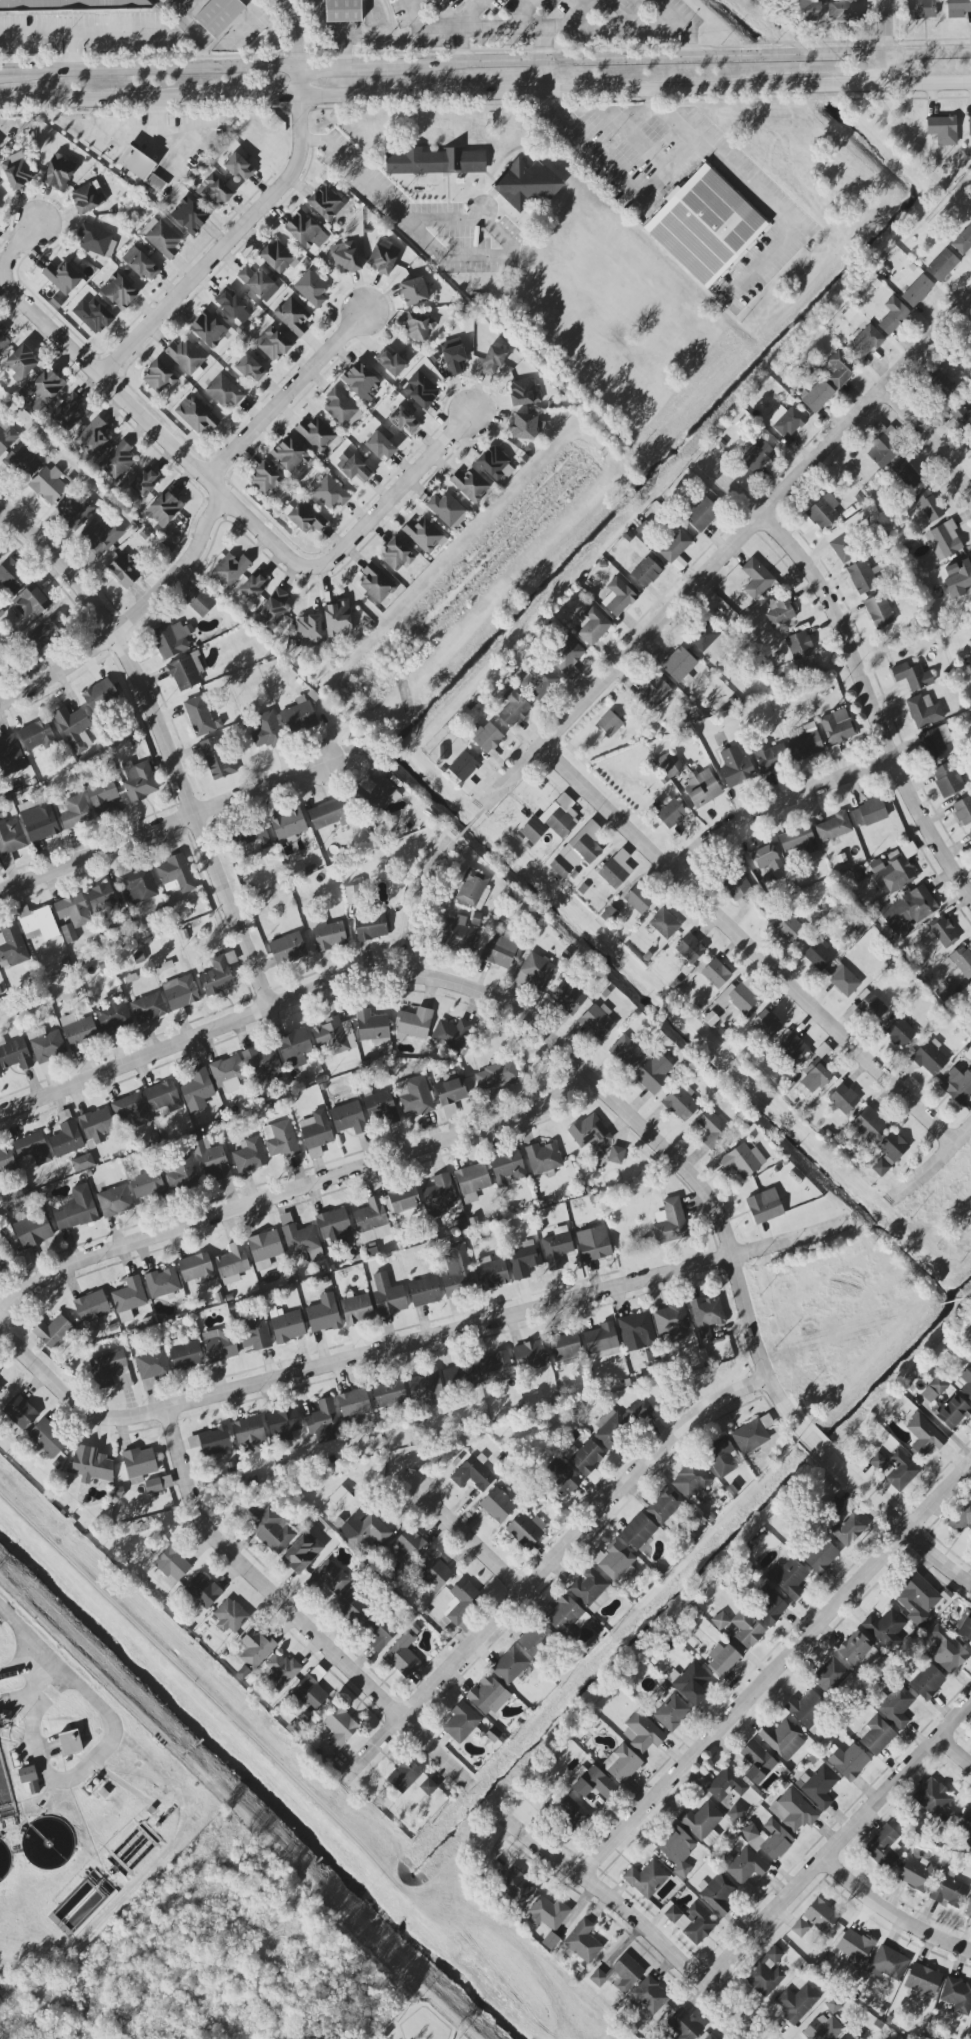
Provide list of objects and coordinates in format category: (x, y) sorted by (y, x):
building: (899, 0)
building: (160, 1)
building: (72, 5)
building: (957, 8)
building: (919, 9)
building: (845, 10)
building: (343, 11)
building: (807, 11)
road: (452, 12)
building: (218, 15)
road: (524, 15)
road: (578, 15)
road: (687, 25)
road: (466, 28)
road: (79, 29)
road: (538, 30)
road: (297, 32)
road: (889, 43)
road: (547, 47)
road: (74, 52)
road: (679, 61)
road: (345, 69)
road: (151, 73)
road: (547, 79)
road: (304, 85)
road: (930, 86)
road: (840, 88)
road: (547, 93)
road: (271, 100)
road: (118, 102)
road: (307, 118)
road: (157, 123)
building: (942, 130)
building: (970, 130)
road: (589, 146)
road: (681, 154)
road: (653, 155)
building: (434, 161)
building: (136, 163)
building: (239, 167)
building: (17, 171)
road: (356, 172)
building: (58, 173)
building: (155, 183)
building: (524, 184)
road: (751, 191)
building: (215, 193)
building: (88, 198)
building: (326, 203)
building: (188, 216)
building: (705, 228)
building: (306, 231)
parking lot: (460, 234)
building: (161, 238)
building: (97, 241)
building: (963, 241)
road: (516, 254)
building: (383, 257)
building: (277, 258)
building: (345, 258)
road: (210, 262)
building: (141, 264)
building: (942, 265)
building: (62, 277)
building: (258, 283)
building: (311, 288)
building: (118, 291)
building: (414, 291)
building: (917, 291)
building: (233, 307)
building: (93, 316)
building: (292, 316)
building: (893, 316)
building: (417, 327)
building: (208, 329)
building: (3, 338)
building: (865, 342)
building: (273, 344)
building: (453, 357)
building: (21, 362)
building: (492, 362)
building: (390, 363)
building: (839, 368)
building: (250, 369)
building: (158, 377)
building: (361, 382)
building: (942, 384)
building: (44, 389)
building: (421, 390)
building: (224, 392)
building: (523, 393)
building: (817, 396)
road: (289, 398)
road: (131, 407)
building: (341, 409)
building: (68, 412)
building: (196, 415)
building: (962, 415)
building: (403, 420)
building: (524, 426)
building: (319, 435)
building: (6, 437)
building: (92, 437)
road: (930, 437)
building: (380, 446)
building: (881, 452)
building: (756, 455)
building: (291, 459)
building: (22, 461)
building: (117, 461)
building: (495, 464)
building: (353, 466)
building: (904, 474)
building: (265, 479)
building: (145, 481)
building: (47, 485)
building: (470, 485)
building: (329, 492)
road: (396, 494)
building: (929, 506)
building: (76, 509)
building: (163, 509)
building: (447, 510)
building: (701, 516)
building: (306, 517)
building: (103, 535)
building: (424, 535)
building: (846, 536)
building: (944, 540)
building: (673, 545)
road: (728, 552)
building: (1, 553)
building: (396, 555)
building: (123, 571)
building: (228, 571)
building: (646, 572)
building: (11, 576)
building: (861, 577)
building: (958, 578)
building: (756, 579)
building: (376, 583)
building: (253, 586)
building: (618, 597)
building: (30, 602)
building: (202, 604)
building: (274, 607)
building: (879, 611)
building: (780, 612)
road: (128, 617)
building: (337, 619)
building: (592, 625)
building: (308, 630)
building: (44, 634)
building: (705, 637)
building: (172, 639)
building: (799, 645)
building: (565, 659)
road: (853, 661)
building: (679, 664)
building: (183, 674)
building: (911, 675)
building: (539, 682)
building: (653, 694)
building: (99, 695)
building: (513, 709)
building: (924, 711)
building: (198, 716)
building: (299, 718)
building: (609, 723)
building: (72, 727)
building: (837, 727)
building: (266, 729)
building: (37, 736)
road: (162, 736)
building: (486, 736)
building: (804, 742)
building: (933, 745)
building: (10, 756)
building: (770, 757)
building: (216, 758)
building: (735, 767)
building: (462, 772)
building: (947, 779)
building: (139, 781)
building: (702, 788)
building: (375, 794)
building: (102, 795)
road: (776, 802)
building: (74, 811)
building: (962, 811)
road: (480, 812)
building: (668, 813)
building: (869, 813)
building: (329, 814)
building: (560, 816)
building: (38, 819)
building: (288, 824)
road: (164, 826)
road: (468, 826)
building: (834, 827)
building: (532, 831)
building: (969, 835)
building: (11, 837)
road: (456, 839)
building: (798, 840)
building: (250, 841)
building: (578, 851)
building: (764, 859)
building: (616, 870)
building: (892, 872)
building: (176, 874)
building: (735, 883)
building: (139, 886)
building: (473, 889)
building: (101, 896)
building: (638, 899)
road: (417, 903)
building: (908, 910)
building: (72, 915)
building: (38, 923)
building: (664, 924)
building: (370, 927)
building: (788, 928)
building: (943, 931)
building: (458, 935)
building: (330, 937)
building: (12, 945)
road: (750, 945)
building: (690, 948)
building: (288, 949)
building: (500, 951)
building: (818, 955)
building: (962, 960)
building: (218, 974)
building: (716, 974)
building: (843, 979)
building: (180, 995)
building: (567, 997)
building: (739, 998)
building: (871, 1006)
building: (148, 1008)
building: (113, 1018)
building: (597, 1022)
building: (414, 1023)
building: (766, 1024)
building: (372, 1027)
building: (80, 1031)
building: (899, 1032)
building: (451, 1034)
building: (335, 1035)
building: (46, 1044)
building: (791, 1046)
building: (295, 1047)
building: (626, 1052)
building: (15, 1055)
building: (929, 1058)
road: (135, 1059)
building: (262, 1064)
building: (654, 1072)
building: (228, 1073)
building: (497, 1075)
building: (814, 1078)
building: (0, 1079)
building: (957, 1082)
building: (439, 1088)
building: (197, 1090)
building: (452, 1093)
building: (414, 1095)
building: (163, 1097)
building: (843, 1098)
building: (680, 1104)
building: (381, 1107)
building: (132, 1110)
building: (349, 1118)
building: (96, 1126)
building: (869, 1126)
building: (712, 1130)
building: (589, 1132)
building: (316, 1133)
building: (281, 1139)
building: (33, 1148)
road: (666, 1149)
building: (889, 1153)
building: (249, 1155)
building: (616, 1155)
building: (543, 1157)
building: (6, 1160)
building: (211, 1160)
building: (743, 1160)
building: (82, 1163)
road: (932, 1167)
building: (508, 1168)
building: (181, 1172)
building: (472, 1182)
building: (147, 1184)
road: (290, 1191)
building: (439, 1195)
building: (115, 1201)
building: (403, 1202)
building: (764, 1206)
building: (76, 1209)
building: (372, 1221)
building: (670, 1221)
building: (333, 1223)
building: (32, 1230)
building: (300, 1239)
building: (594, 1244)
building: (557, 1248)
building: (264, 1249)
building: (316, 1257)
building: (524, 1260)
building: (2, 1262)
building: (232, 1264)
building: (196, 1268)
building: (456, 1271)
building: (491, 1273)
building: (162, 1283)
building: (424, 1292)
building: (130, 1295)
building: (387, 1295)
building: (91, 1308)
building: (357, 1310)
building: (323, 1314)
road: (512, 1315)
building: (707, 1316)
building: (670, 1319)
building: (636, 1331)
building: (54, 1332)
building: (602, 1341)
building: (219, 1344)
building: (565, 1346)
building: (186, 1355)
building: (530, 1356)
building: (152, 1368)
building: (496, 1368)
building: (111, 1371)
building: (460, 1378)
building: (964, 1383)
building: (425, 1387)
building: (0, 1389)
building: (934, 1389)
building: (389, 1394)
road: (73, 1399)
building: (354, 1406)
building: (20, 1412)
building: (954, 1414)
building: (322, 1418)
building: (619, 1423)
building: (284, 1424)
building: (249, 1433)
building: (924, 1436)
building: (750, 1437)
building: (46, 1440)
building: (211, 1443)
building: (585, 1457)
building: (721, 1457)
building: (877, 1461)
building: (139, 1464)
building: (91, 1465)
building: (899, 1471)
building: (473, 1474)
building: (561, 1478)
building: (692, 1481)
building: (158, 1484)
building: (341, 1498)
building: (497, 1505)
building: (663, 1505)
building: (834, 1506)
building: (963, 1520)
building: (846, 1527)
building: (526, 1529)
building: (272, 1530)
building: (364, 1531)
building: (638, 1532)
road: (471, 1538)
building: (410, 1547)
building: (302, 1553)
building: (820, 1556)
road: (938, 1557)
building: (613, 1560)
building: (172, 1566)
road: (547, 1566)
building: (434, 1572)
building: (327, 1578)
building: (788, 1578)
building: (590, 1589)
building: (204, 1591)
building: (917, 1600)
building: (462, 1602)
building: (768, 1605)
building: (351, 1606)
road: (293, 1610)
building: (231, 1615)
building: (564, 1616)
building: (720, 1621)
building: (885, 1628)
building: (965, 1628)
building: (746, 1629)
building: (379, 1631)
building: (541, 1638)
building: (255, 1648)
building: (855, 1648)
building: (946, 1651)
building: (403, 1655)
building: (723, 1660)
building: (510, 1666)
road: (28, 1668)
road: (776, 1668)
building: (281, 1671)
building: (830, 1675)
building: (926, 1681)
building: (690, 1683)
building: (311, 1690)
road: (93, 1693)
building: (488, 1695)
road: (41, 1699)
building: (896, 1707)
building: (807, 1708)
building: (672, 1712)
building: (461, 1722)
building: (340, 1727)
road: (40, 1732)
building: (642, 1733)
building: (875, 1735)
building: (783, 1739)
building: (70, 1742)
road: (957, 1746)
building: (757, 1762)
building: (848, 1762)
building: (621, 1764)
building: (27, 1774)
building: (410, 1778)
building: (594, 1783)
building: (726, 1785)
building: (818, 1786)
building: (932, 1797)
wastewater plant: (77, 1802)
building: (572, 1810)
building: (793, 1811)
building: (736, 1813)
building: (701, 1821)
building: (965, 1822)
building: (768, 1839)
road: (840, 1842)
building: (882, 1847)
building: (676, 1850)
building: (744, 1866)
building: (916, 1873)
building: (646, 1879)
building: (516, 1886)
building: (949, 1889)
building: (717, 1894)
building: (968, 1907)
building: (548, 1913)
building: (821, 1915)
road: (890, 1918)
building: (690, 1921)
road: (638, 1923)
building: (799, 1928)
building: (583, 1942)
building: (854, 1947)
building: (888, 1963)
building: (620, 1973)
building: (766, 1973)
building: (922, 1980)
building: (650, 1996)
building: (957, 1996)
building: (796, 2003)
building: (684, 2025)
building: (824, 2028)
building: (707, 2036)
building: (848, 2037)

